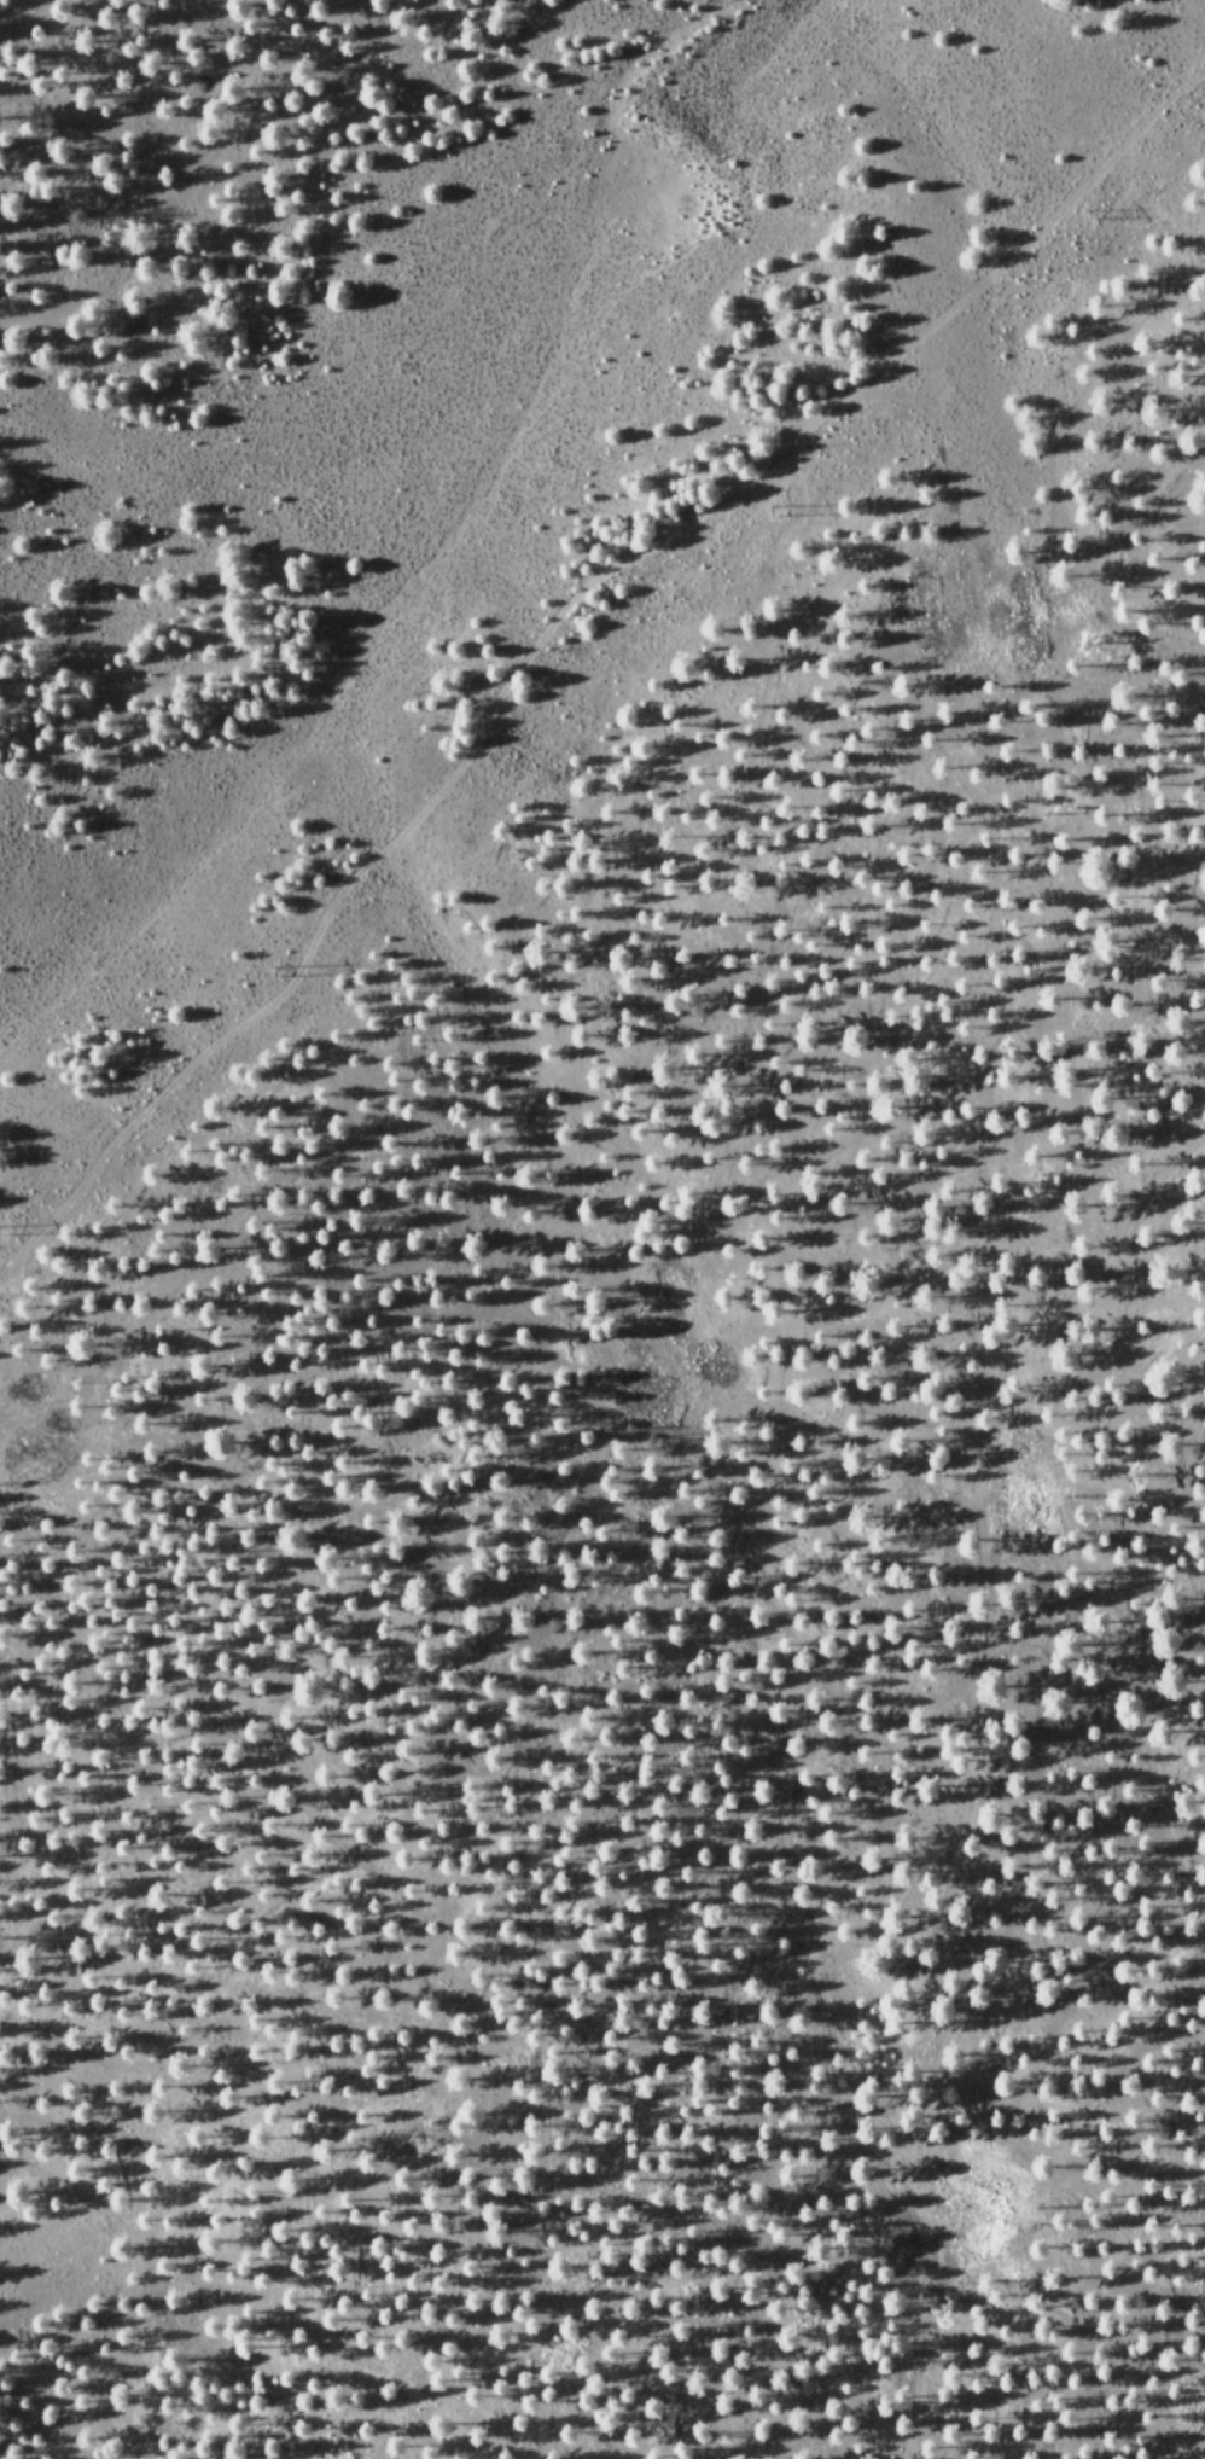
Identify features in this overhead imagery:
power tower: (1098, 223)
power tower: (792, 513)
power tower: (279, 977)
power tower: (10, 1236)

